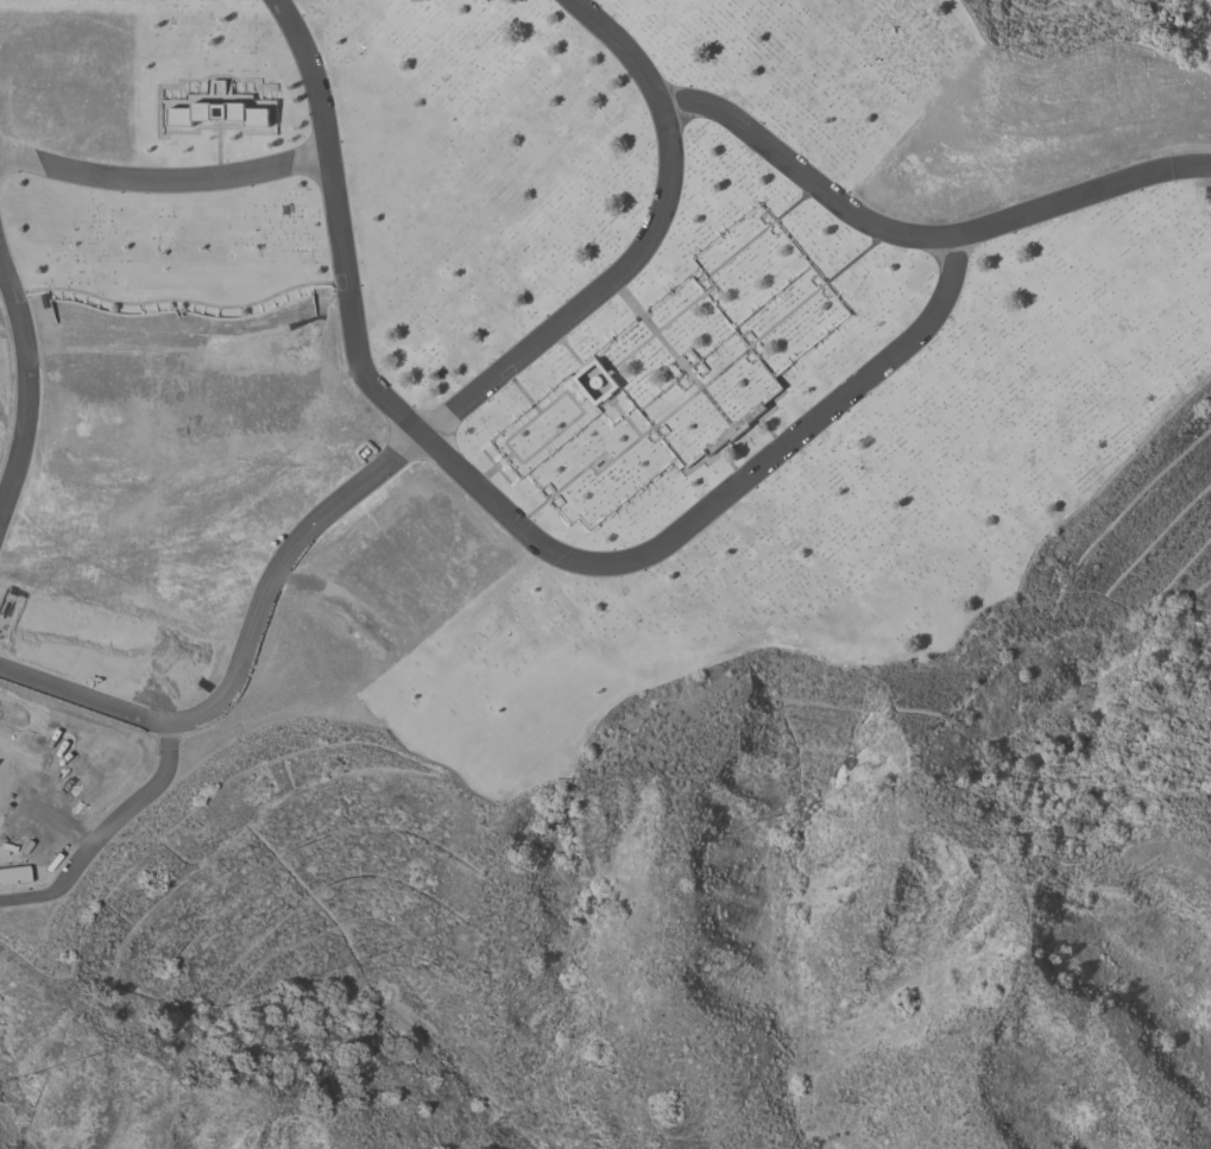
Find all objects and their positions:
building: (217, 113)
road: (164, 173)
road: (920, 240)
building: (183, 252)
park: (534, 372)
road: (29, 381)
building: (578, 381)
road: (427, 438)
road: (513, 526)
road: (100, 828)
building: (13, 875)

